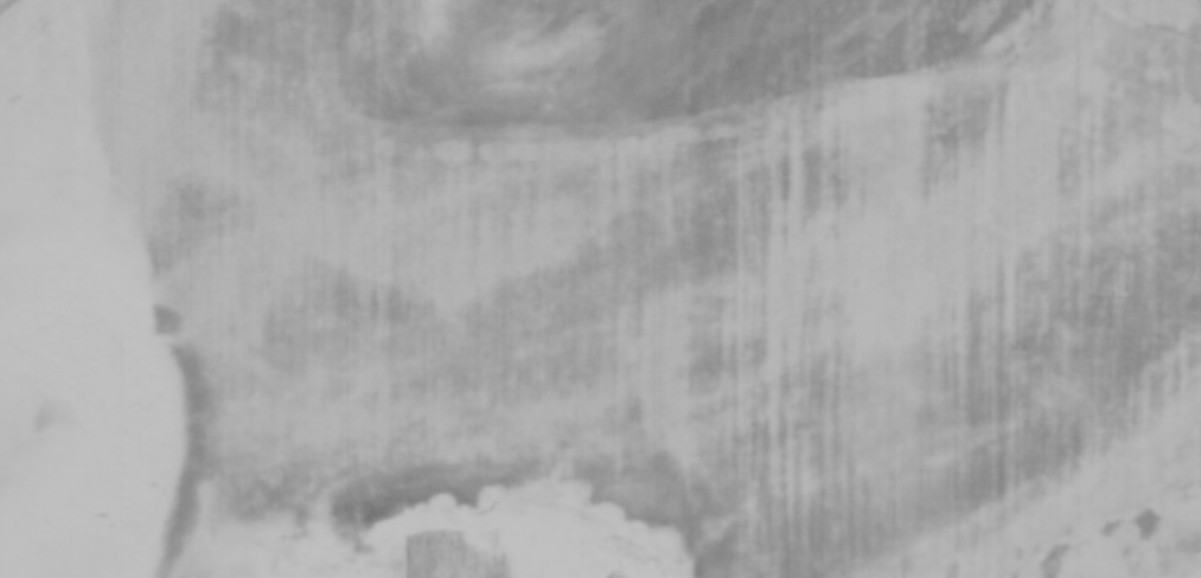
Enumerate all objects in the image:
road: (33, 27)

